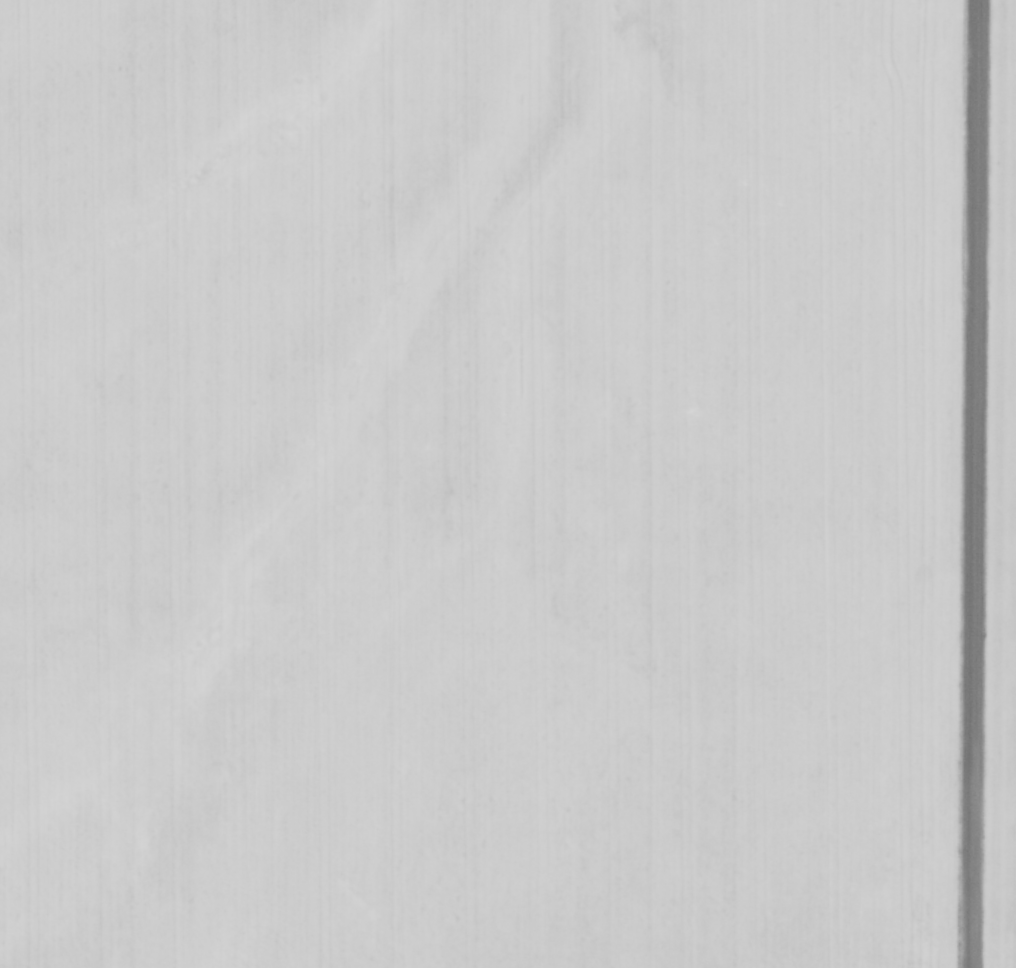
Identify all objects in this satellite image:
road: (968, 484)

